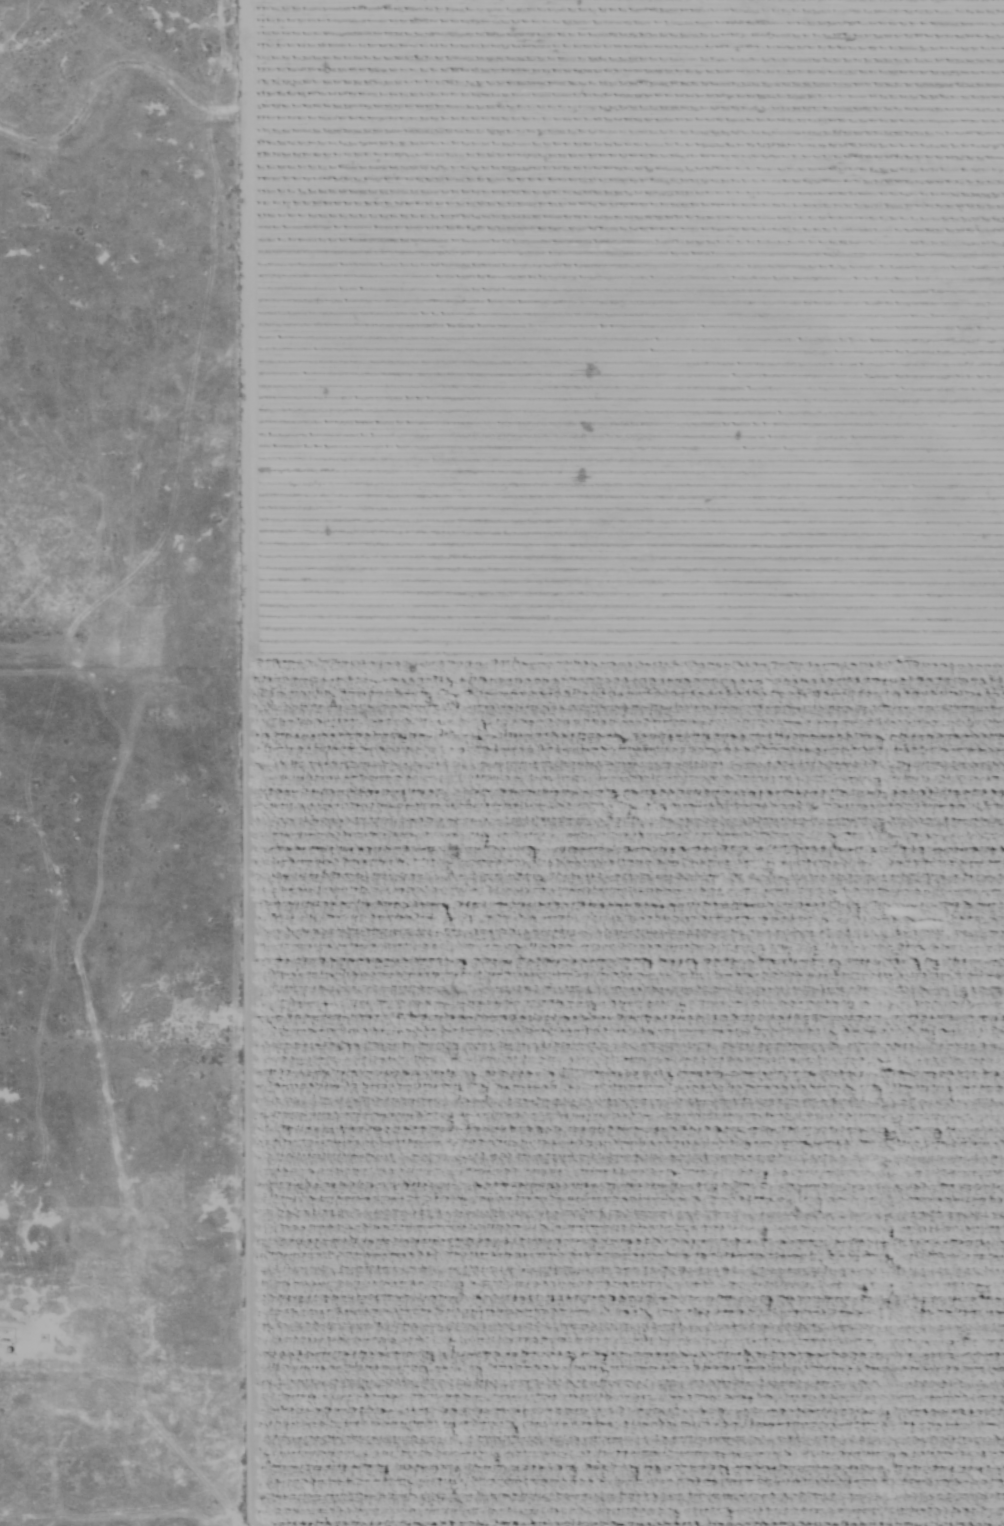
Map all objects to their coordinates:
road: (70, 58)
crop: (623, 761)

